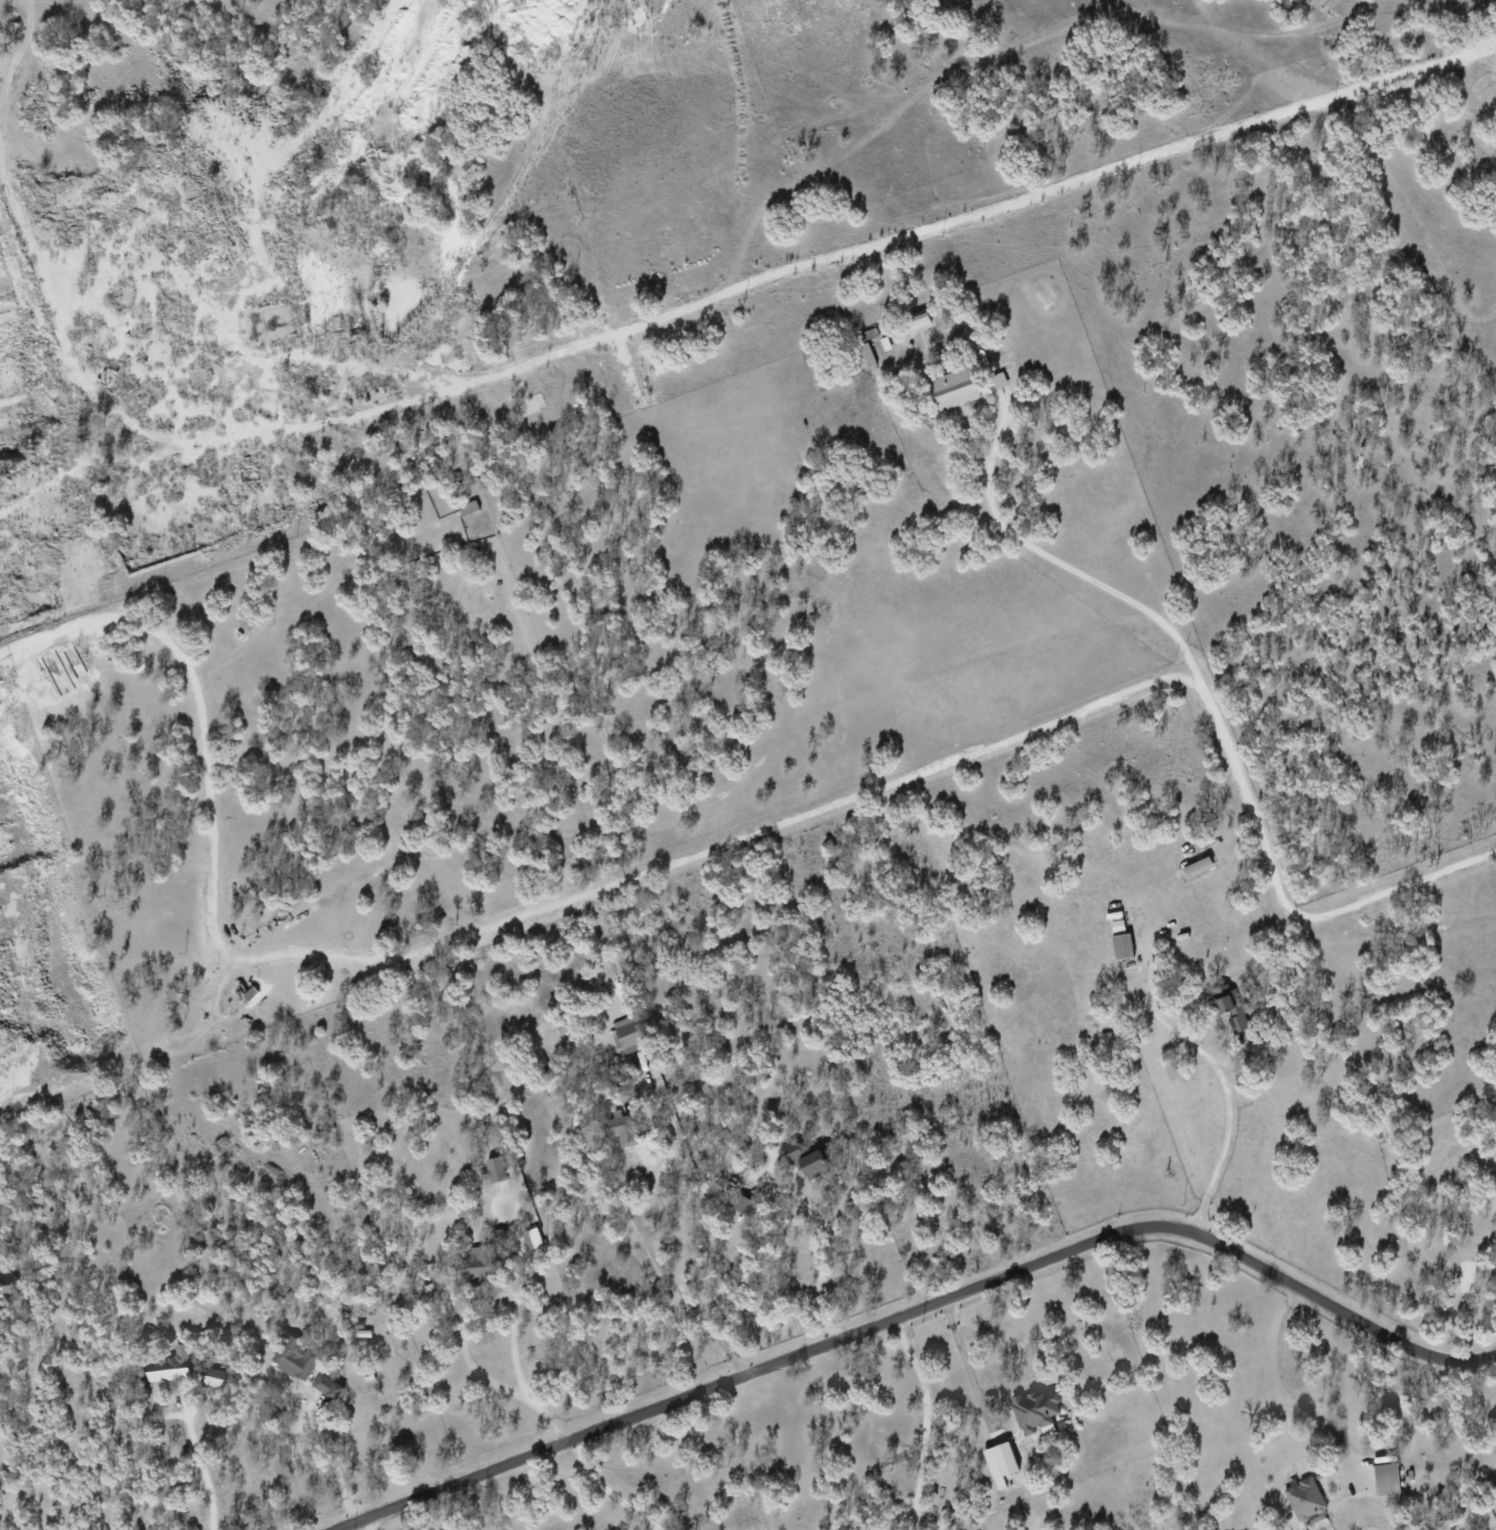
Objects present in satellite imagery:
road: (937, 225)
building: (917, 320)
building: (953, 388)
building: (467, 507)
road: (1068, 566)
road: (766, 827)
building: (1121, 945)
building: (1228, 1004)
building: (627, 1034)
road: (1223, 1078)
building: (621, 1129)
building: (790, 1149)
building: (812, 1163)
building: (496, 1169)
building: (744, 1205)
building: (531, 1238)
road: (823, 1249)
building: (476, 1263)
road: (665, 1272)
road: (507, 1289)
building: (8, 1292)
road: (912, 1311)
building: (295, 1357)
building: (169, 1366)
road: (967, 1367)
building: (215, 1377)
building: (322, 1383)
road: (1286, 1387)
building: (1034, 1409)
road: (30, 1414)
road: (159, 1417)
road: (924, 1421)
road: (317, 1422)
building: (999, 1459)
building: (1386, 1478)
road: (607, 1489)
road: (207, 1492)
building: (1304, 1498)
road: (3, 1500)
road: (367, 1521)

